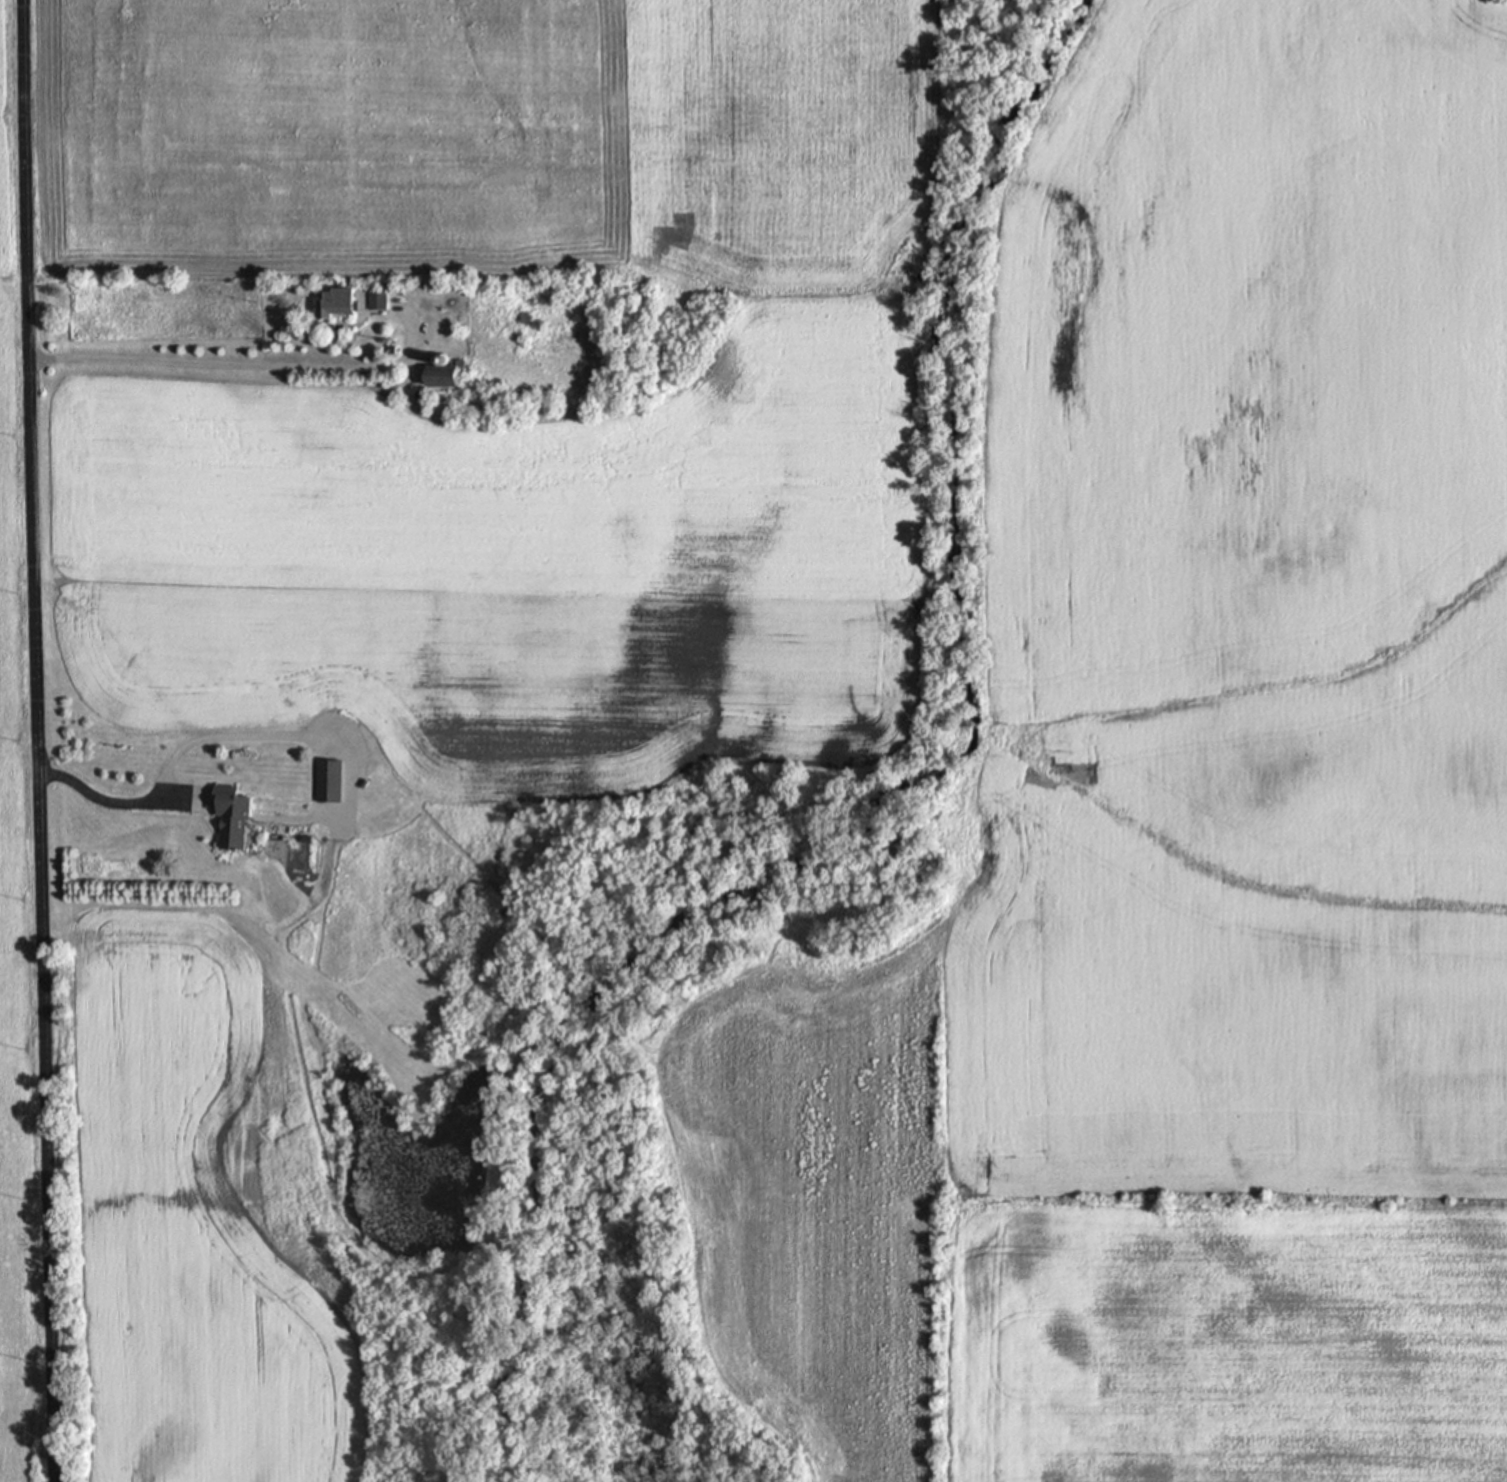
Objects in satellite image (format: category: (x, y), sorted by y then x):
building: (374, 298)
building: (332, 302)
road: (242, 365)
building: (435, 375)
road: (38, 740)
building: (325, 780)
building: (228, 817)

